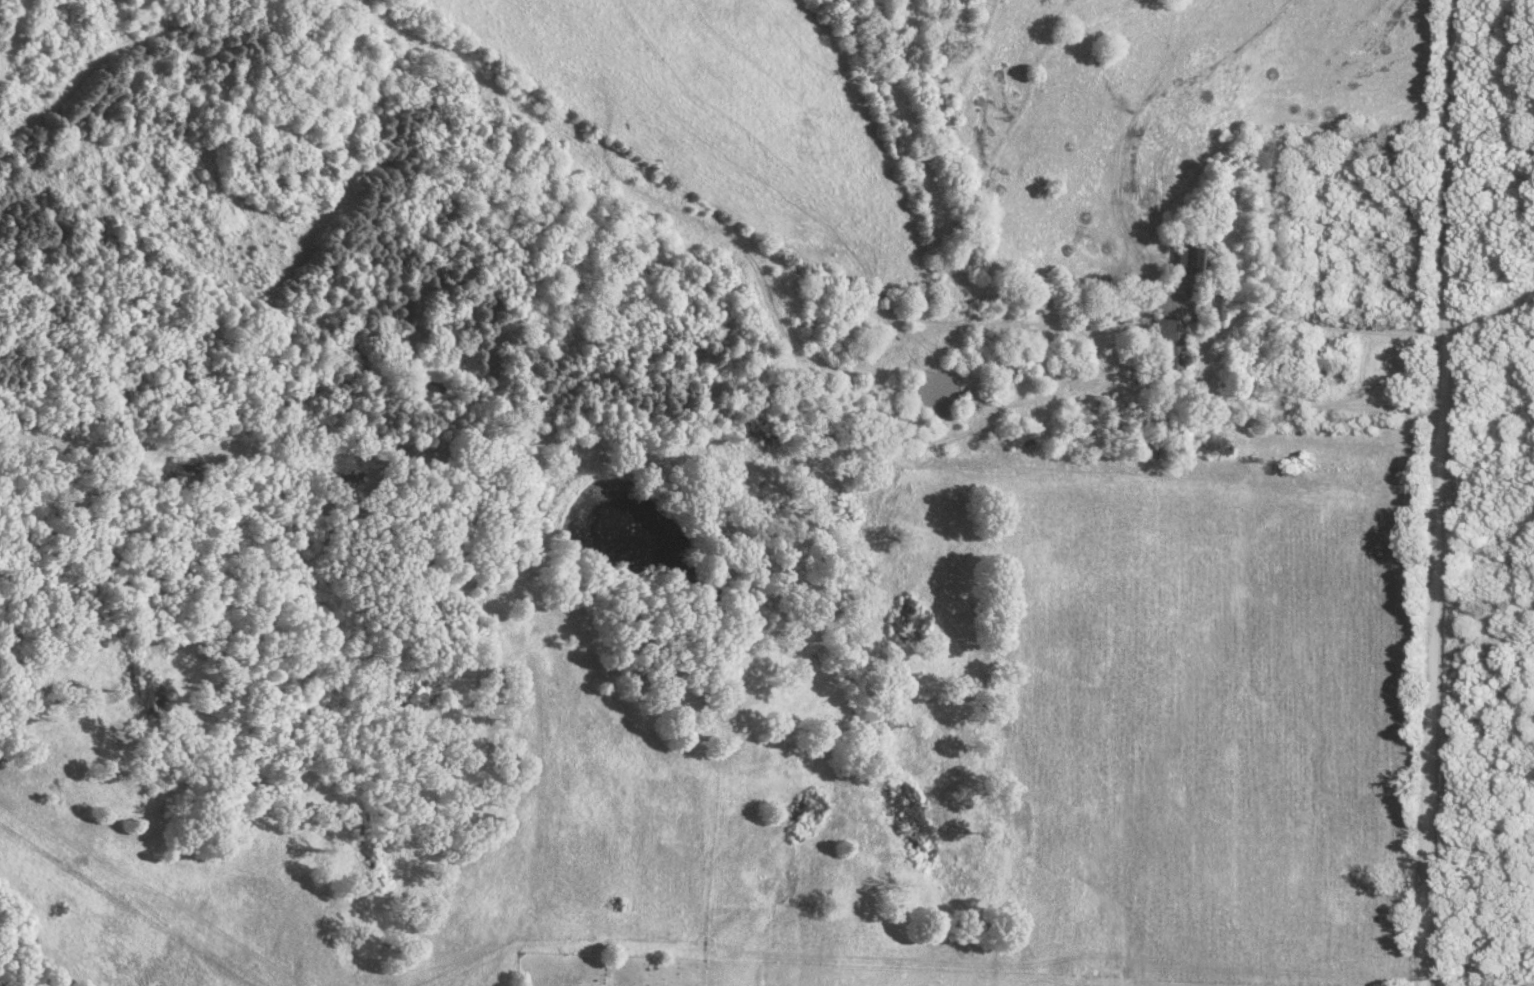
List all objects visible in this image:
building: (1196, 255)
building: (1218, 306)
building: (1169, 347)
building: (1285, 370)
road: (1318, 413)
road: (1438, 492)

